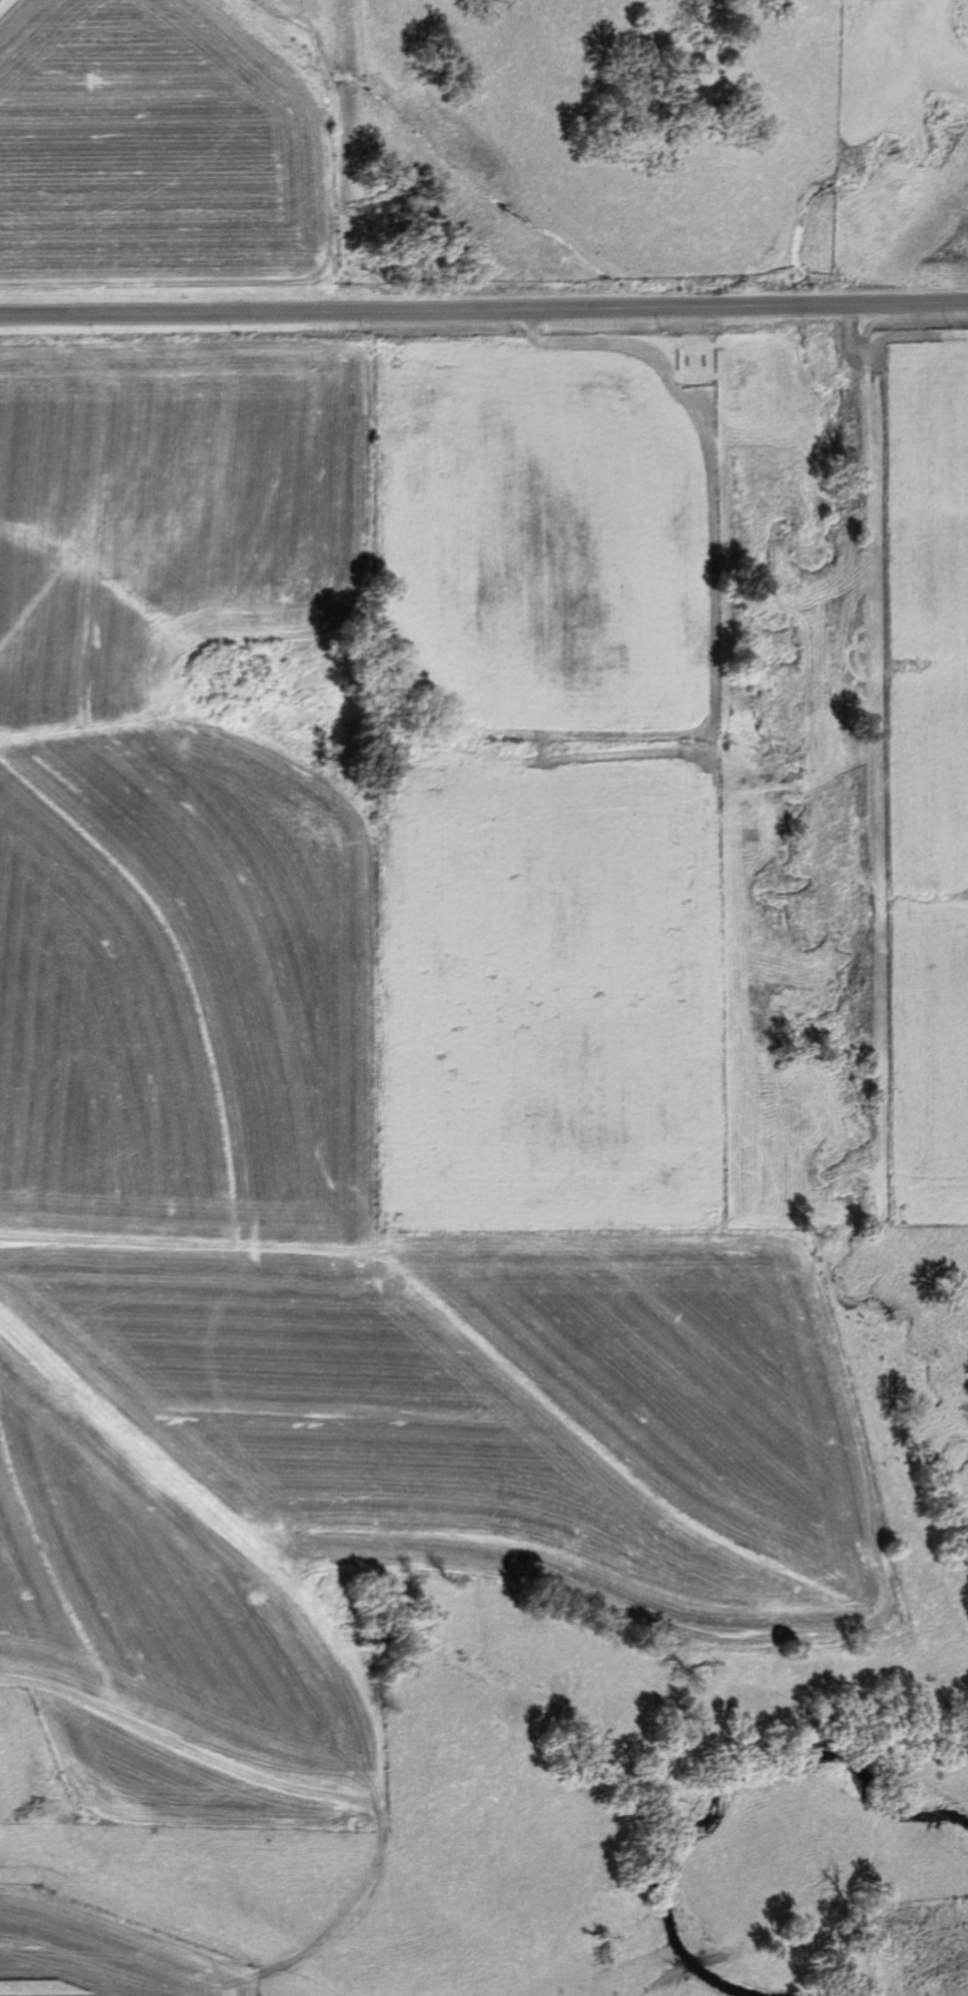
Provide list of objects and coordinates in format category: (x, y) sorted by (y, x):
road: (484, 310)
river: (721, 1790)

